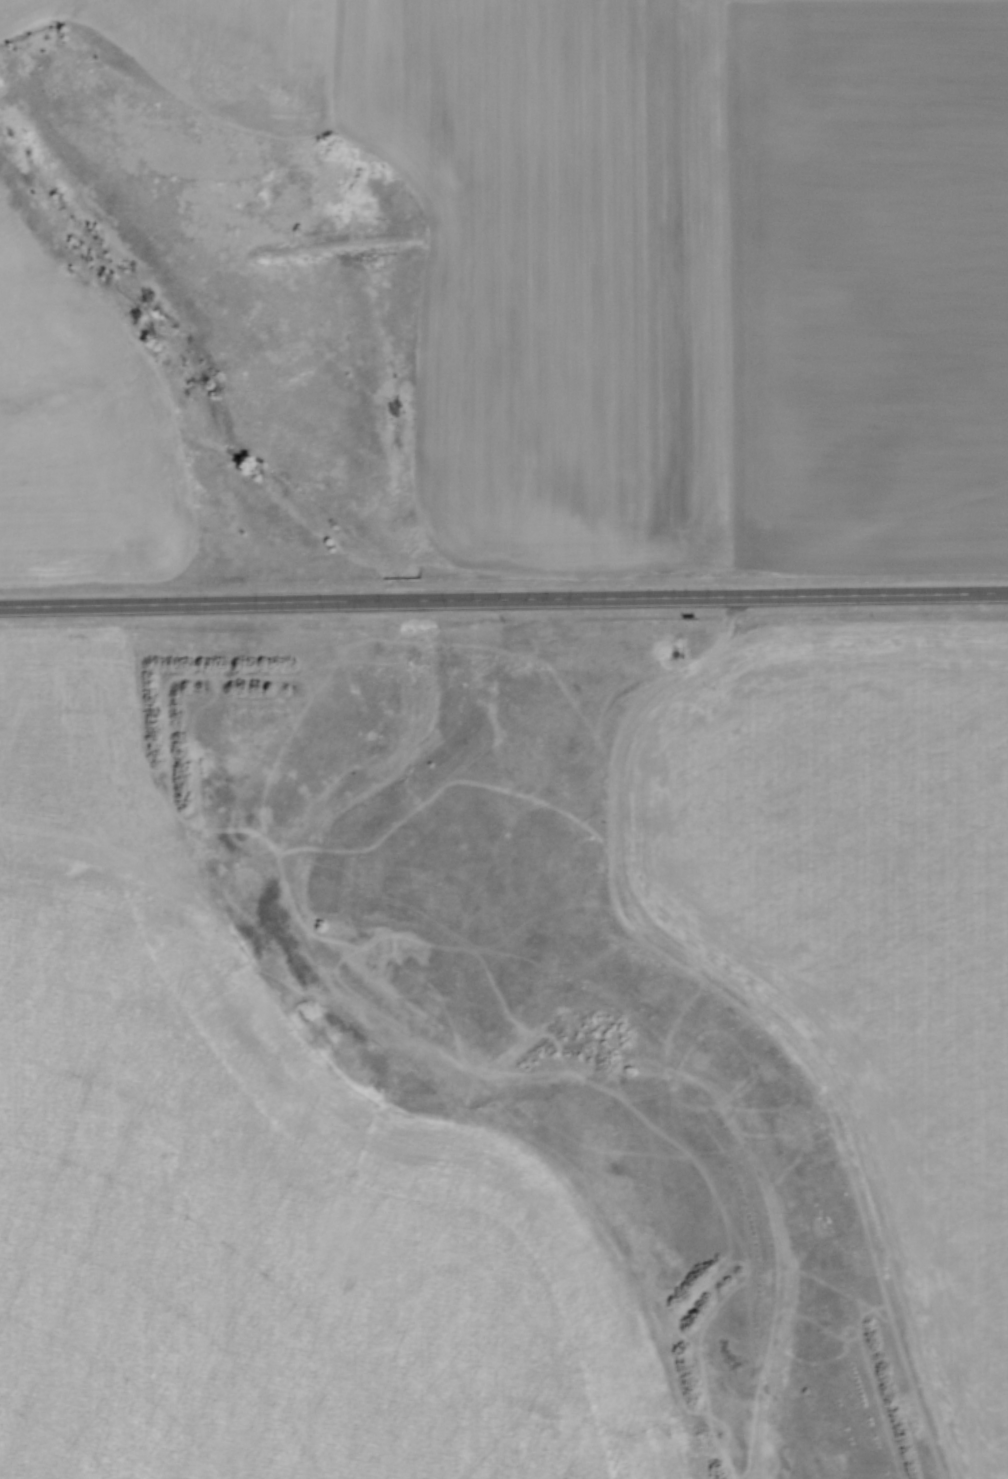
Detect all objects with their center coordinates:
crop: (671, 258)
crop: (81, 435)
road: (503, 600)
crop: (860, 926)
crop: (256, 1183)

